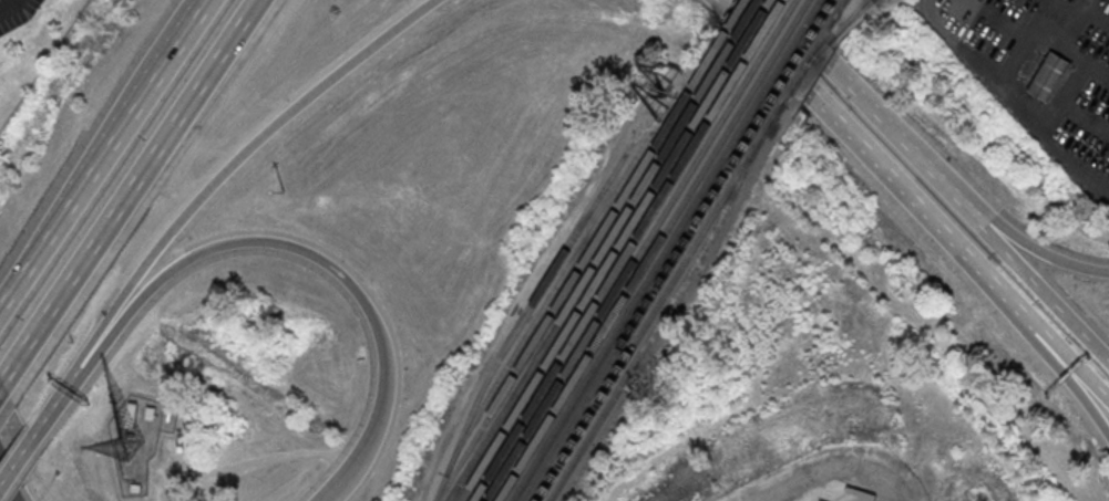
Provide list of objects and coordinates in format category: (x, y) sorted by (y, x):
railway: (832, 3)
railway: (841, 7)
railway: (854, 11)
railway: (858, 11)
railway: (731, 23)
railway: (741, 27)
railway: (752, 30)
railway: (836, 31)
railway: (762, 34)
railway: (772, 38)
railway: (782, 42)
railway: (793, 45)
railway: (801, 53)
railway: (818, 53)
railway: (809, 59)
parking lot: (1041, 71)
building: (1049, 76)
road: (853, 93)
road: (102, 154)
road: (235, 159)
road: (874, 164)
road: (130, 191)
street lamp: (284, 191)
road: (1021, 238)
road: (316, 260)
road: (1026, 271)
railway: (577, 273)
railway: (587, 276)
railway: (597, 281)
railway: (607, 284)
railway: (617, 289)
railway: (627, 292)
railway: (638, 296)
railway: (548, 299)
railway: (648, 300)
railway: (659, 302)
railway: (665, 312)
railway: (520, 324)
road: (1069, 368)
road: (1072, 382)
road: (0, 383)
road: (58, 401)
road: (14, 465)
road: (19, 465)
road: (833, 466)
road: (6, 490)
parking lot: (836, 493)
road: (326, 500)
road: (326, 500)

